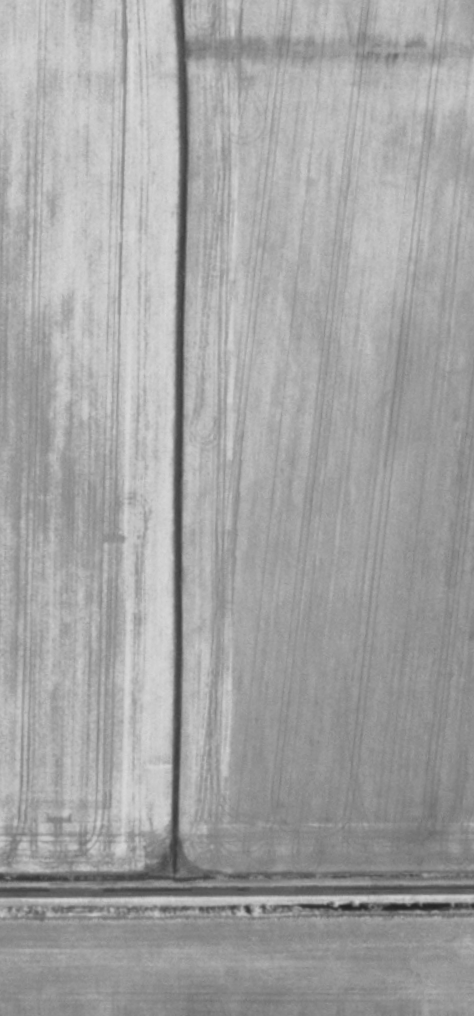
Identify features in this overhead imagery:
road: (237, 881)

